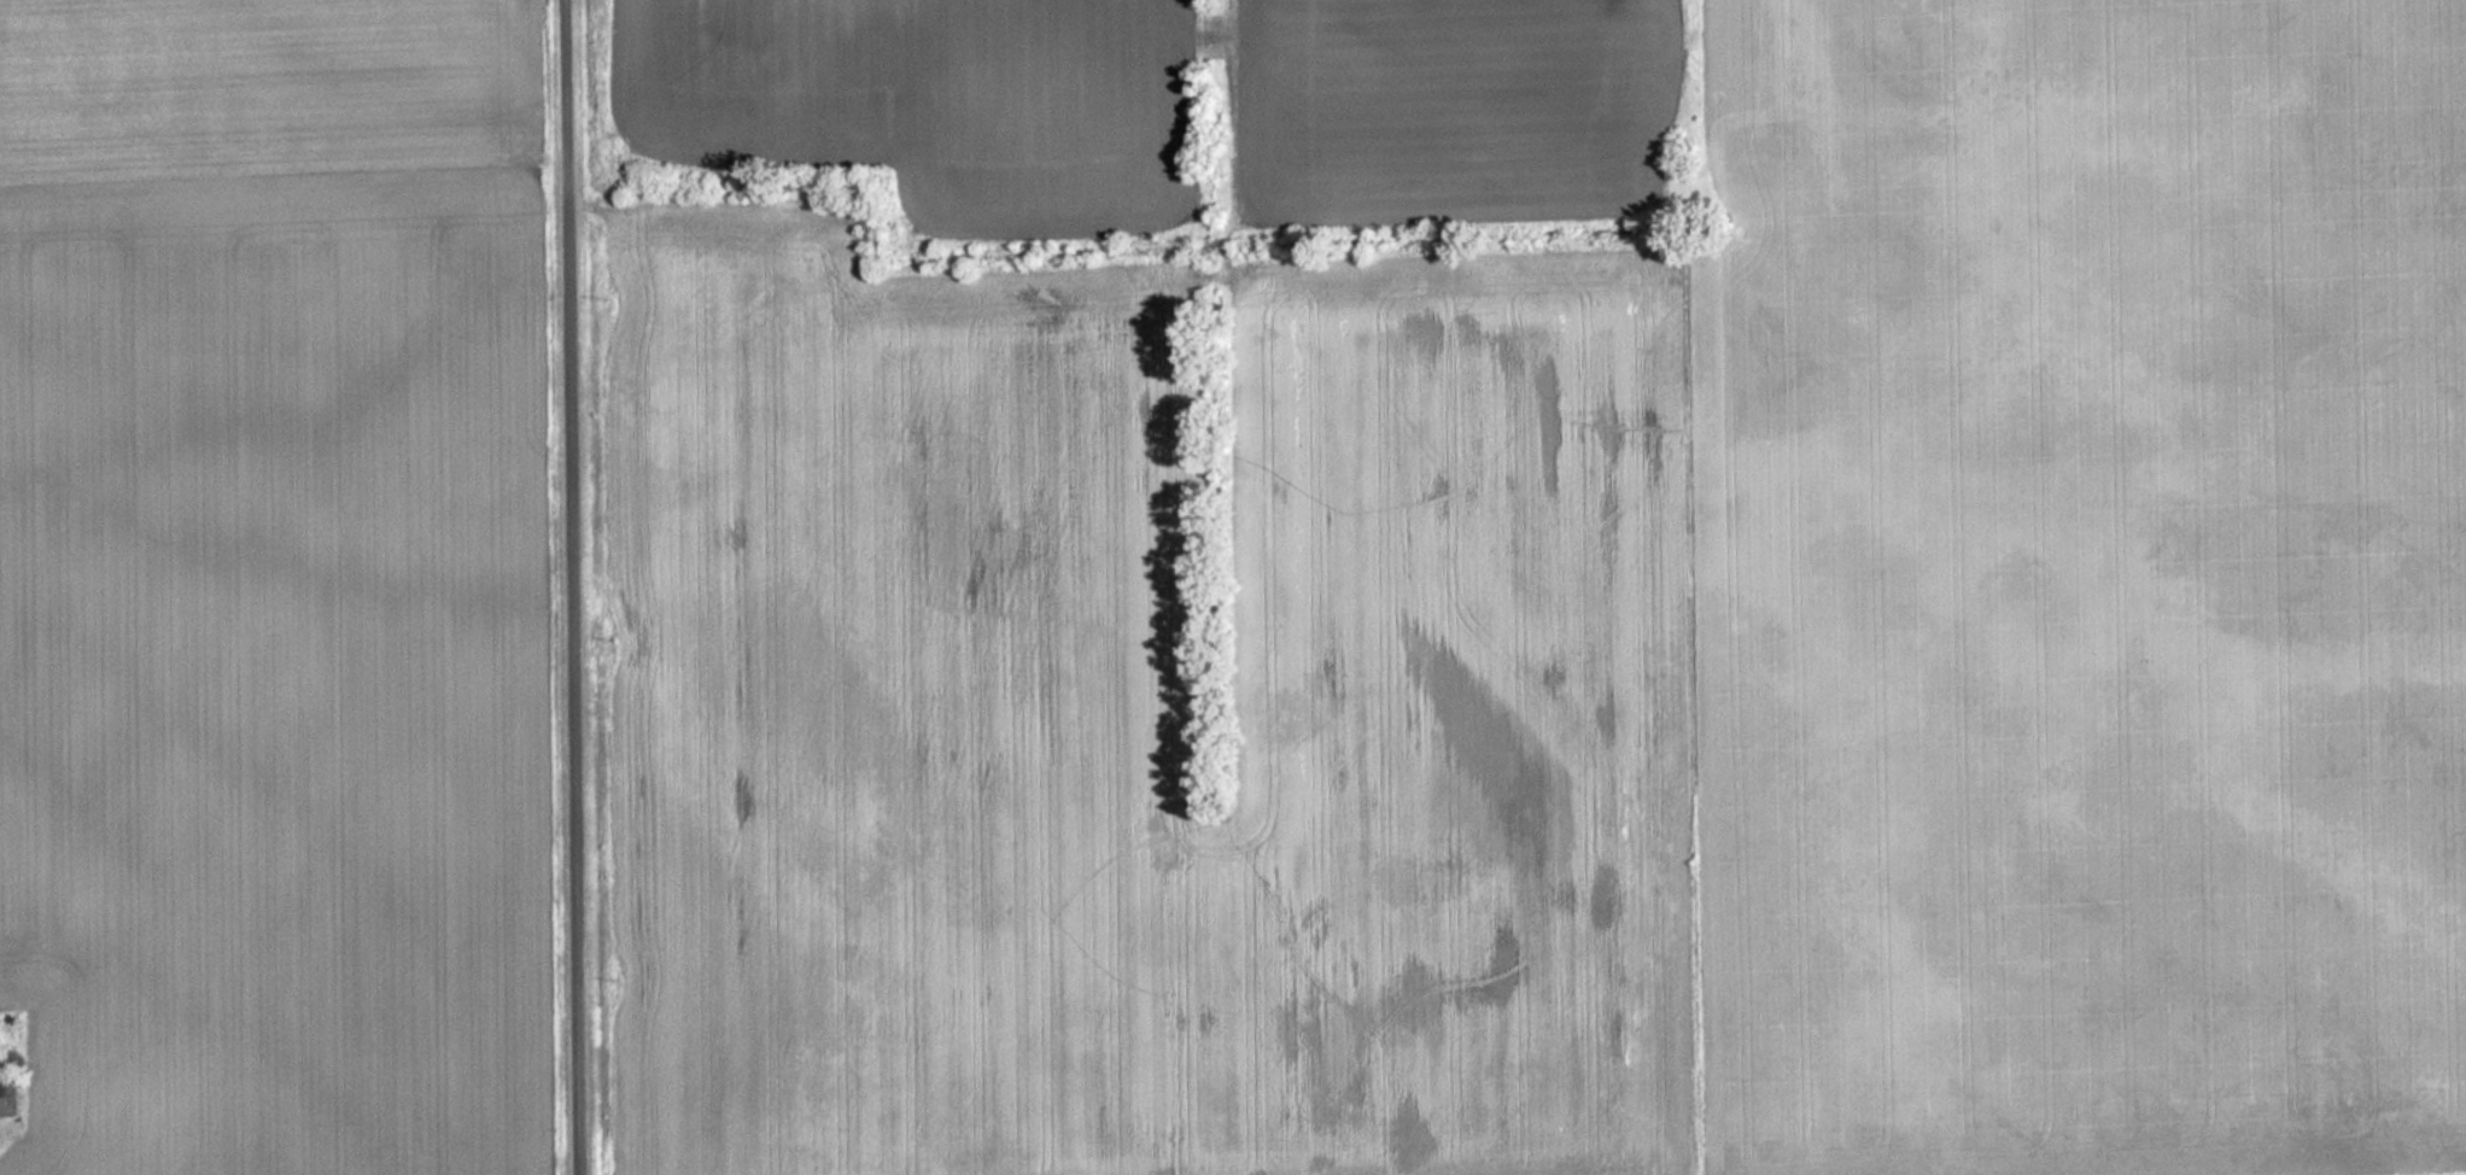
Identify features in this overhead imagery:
road: (574, 587)
building: (14, 1091)

